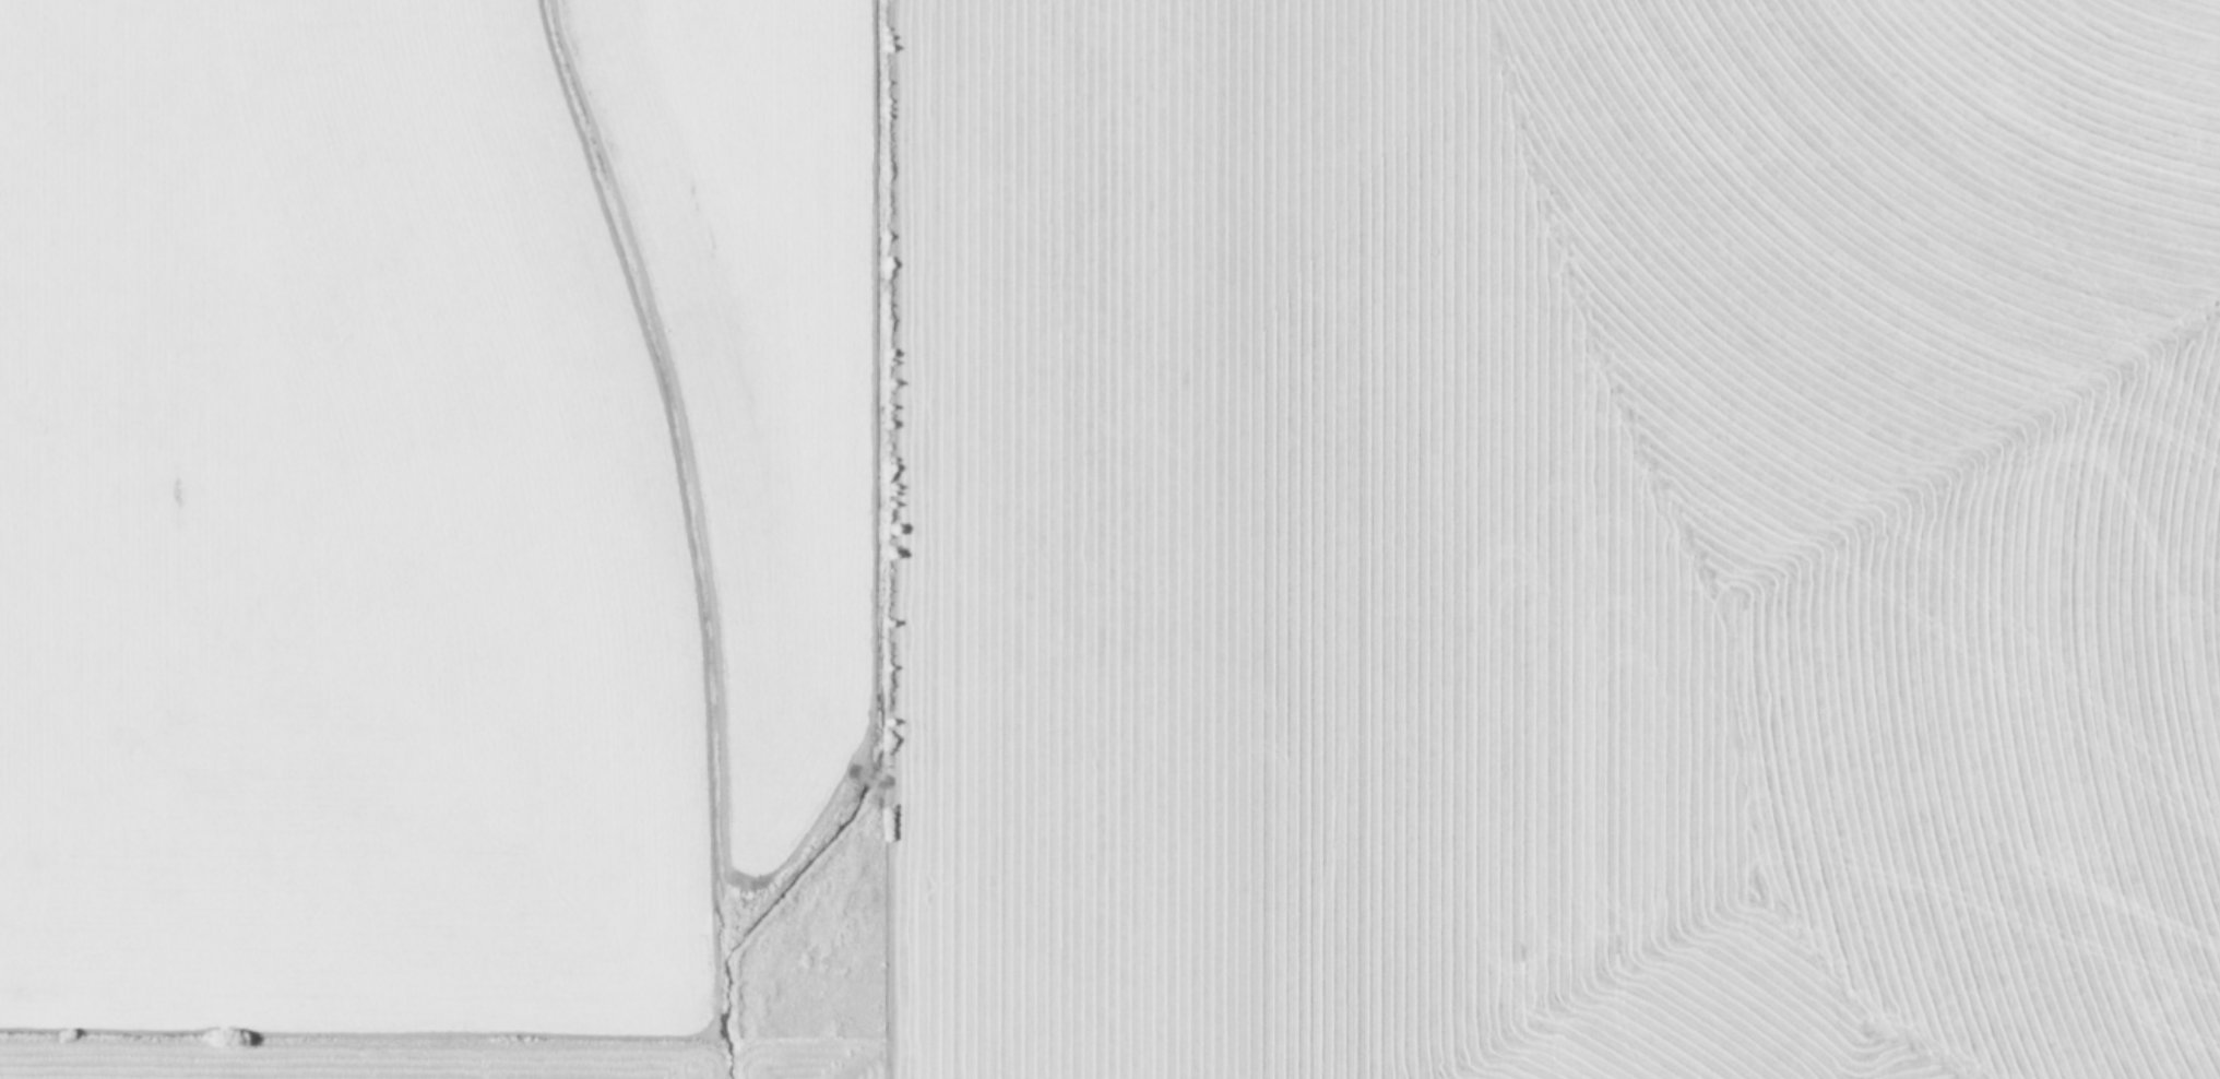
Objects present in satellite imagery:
crop: (1109, 539)

